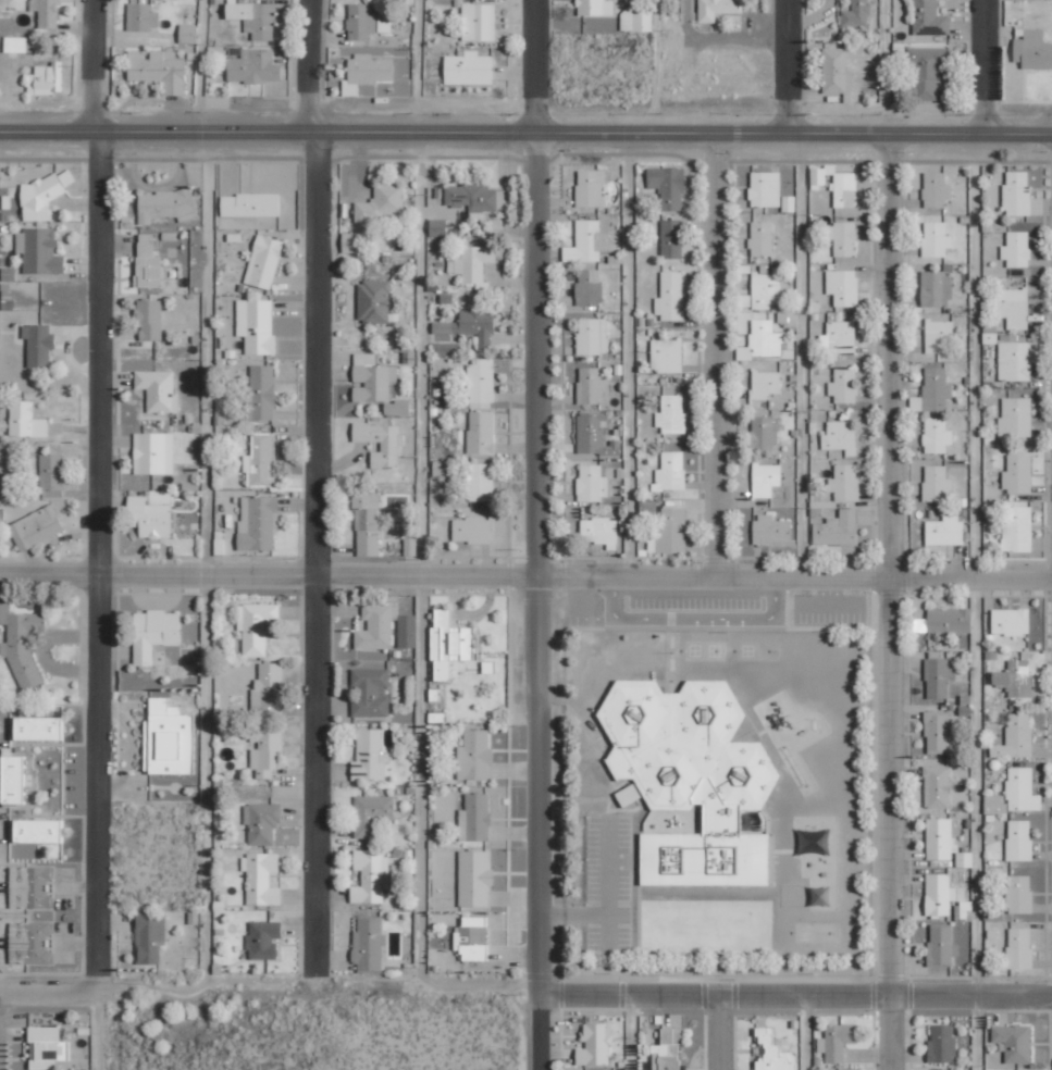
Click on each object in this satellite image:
building: (595, 8)
building: (717, 9)
building: (46, 13)
building: (856, 14)
building: (141, 16)
building: (253, 18)
building: (635, 18)
building: (928, 20)
building: (360, 22)
building: (479, 22)
building: (187, 34)
building: (17, 45)
building: (1032, 50)
road: (196, 66)
building: (253, 66)
road: (418, 66)
road: (656, 66)
road: (787, 66)
road: (886, 66)
road: (985, 67)
building: (468, 69)
building: (158, 71)
building: (926, 71)
building: (367, 73)
building: (837, 74)
building: (46, 79)
road: (525, 132)
building: (836, 185)
building: (668, 186)
building: (590, 188)
building: (936, 189)
building: (769, 191)
building: (42, 195)
building: (1019, 195)
building: (471, 196)
building: (502, 199)
building: (381, 203)
building: (165, 204)
building: (249, 204)
building: (437, 227)
building: (671, 238)
building: (842, 238)
building: (762, 239)
building: (936, 239)
building: (351, 241)
building: (587, 242)
building: (146, 244)
building: (1017, 249)
building: (39, 250)
building: (263, 261)
building: (471, 263)
building: (148, 271)
building: (589, 286)
building: (843, 287)
building: (936, 288)
building: (766, 289)
building: (670, 296)
building: (373, 301)
building: (1013, 307)
building: (150, 319)
building: (256, 325)
building: (470, 326)
building: (938, 335)
building: (593, 336)
building: (839, 339)
building: (762, 341)
building: (38, 344)
building: (447, 349)
road: (629, 352)
road: (713, 353)
building: (666, 354)
road: (800, 354)
building: (1014, 361)
building: (481, 384)
building: (765, 384)
building: (378, 385)
building: (590, 385)
building: (844, 386)
building: (158, 390)
building: (261, 391)
building: (933, 391)
building: (671, 414)
building: (1015, 418)
building: (25, 420)
building: (481, 432)
building: (764, 433)
building: (594, 434)
building: (937, 435)
building: (841, 436)
building: (381, 443)
building: (153, 453)
building: (260, 461)
building: (445, 469)
building: (51, 471)
building: (670, 472)
building: (1017, 473)
building: (765, 480)
building: (480, 482)
building: (592, 483)
building: (844, 483)
building: (936, 484)
road: (315, 487)
road: (97, 496)
building: (149, 514)
building: (258, 522)
building: (367, 524)
building: (36, 527)
building: (837, 528)
building: (471, 530)
building: (771, 530)
building: (1017, 530)
building: (599, 531)
building: (945, 531)
building: (669, 532)
road: (539, 534)
building: (410, 546)
road: (417, 557)
road: (206, 559)
road: (525, 574)
road: (889, 601)
road: (973, 602)
building: (1011, 621)
building: (376, 625)
building: (256, 626)
building: (407, 631)
building: (154, 633)
building: (21, 643)
building: (448, 644)
building: (939, 676)
building: (1015, 677)
building: (268, 685)
building: (371, 692)
building: (38, 727)
building: (938, 732)
building: (1016, 737)
building: (169, 738)
building: (264, 750)
building: (370, 755)
building: (474, 755)
building: (691, 777)
building: (12, 779)
building: (937, 786)
building: (1016, 793)
building: (371, 813)
building: (475, 818)
building: (261, 822)
building: (38, 830)
building: (1019, 839)
building: (944, 842)
building: (370, 875)
building: (261, 878)
building: (474, 878)
building: (29, 886)
building: (1019, 893)
building: (939, 895)
building: (964, 911)
building: (994, 913)
building: (149, 937)
building: (263, 940)
building: (471, 940)
building: (29, 942)
building: (368, 945)
building: (941, 946)
building: (1019, 947)
road: (270, 979)
road: (795, 996)
road: (629, 1033)
road: (718, 1033)
road: (805, 1033)
building: (837, 1041)
building: (942, 1042)
building: (1014, 1042)
building: (595, 1045)
building: (46, 1047)
building: (668, 1049)
building: (772, 1053)
building: (1016, 1069)

